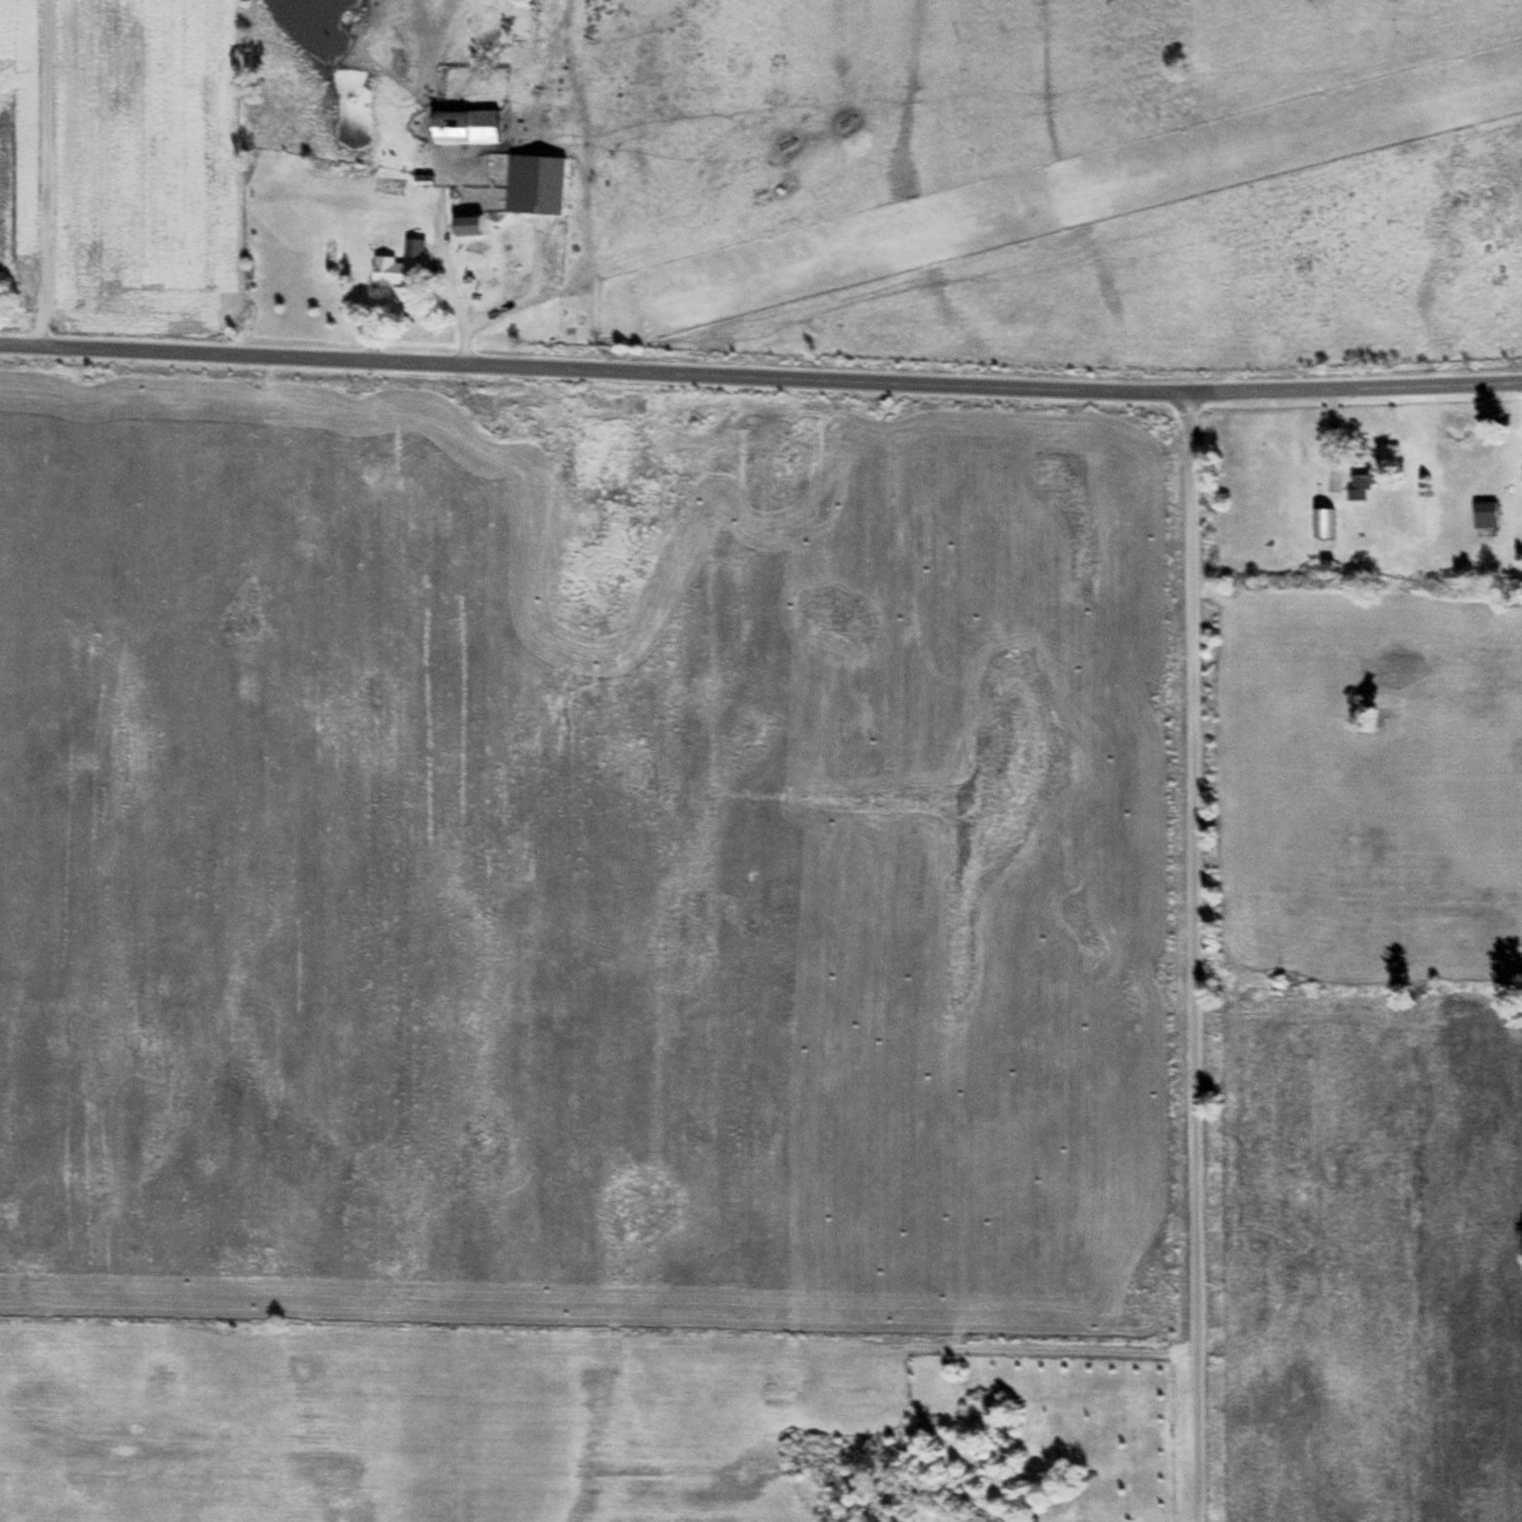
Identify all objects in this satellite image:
building: (463, 127)
airport runway: (1084, 195)
building: (465, 225)
building: (399, 266)
road: (760, 379)
building: (1521, 474)
building: (1359, 482)
building: (1483, 514)
building: (1321, 523)
road: (1181, 959)

